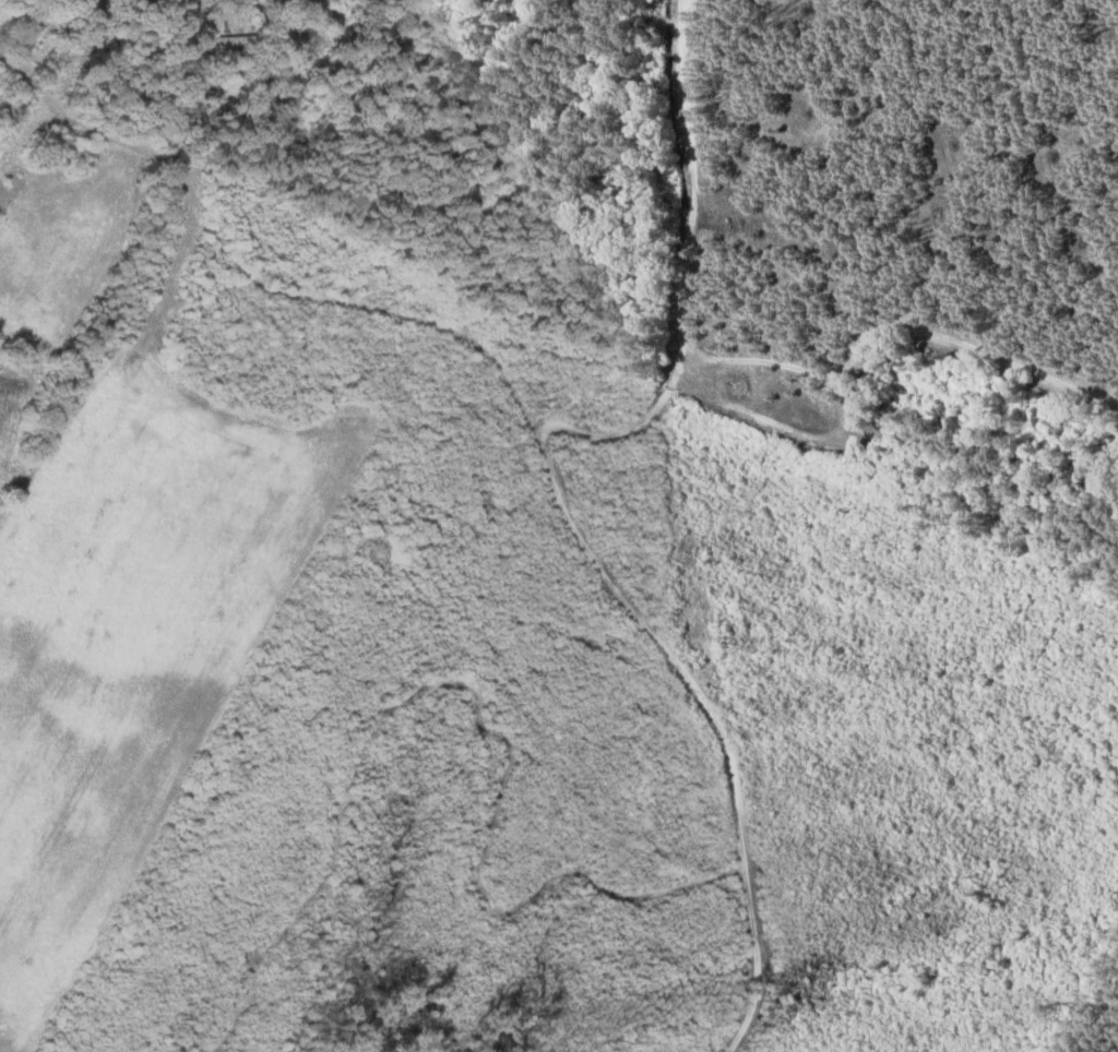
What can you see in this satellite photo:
road: (96, 22)
building: (234, 40)
building: (211, 96)
road: (31, 180)

